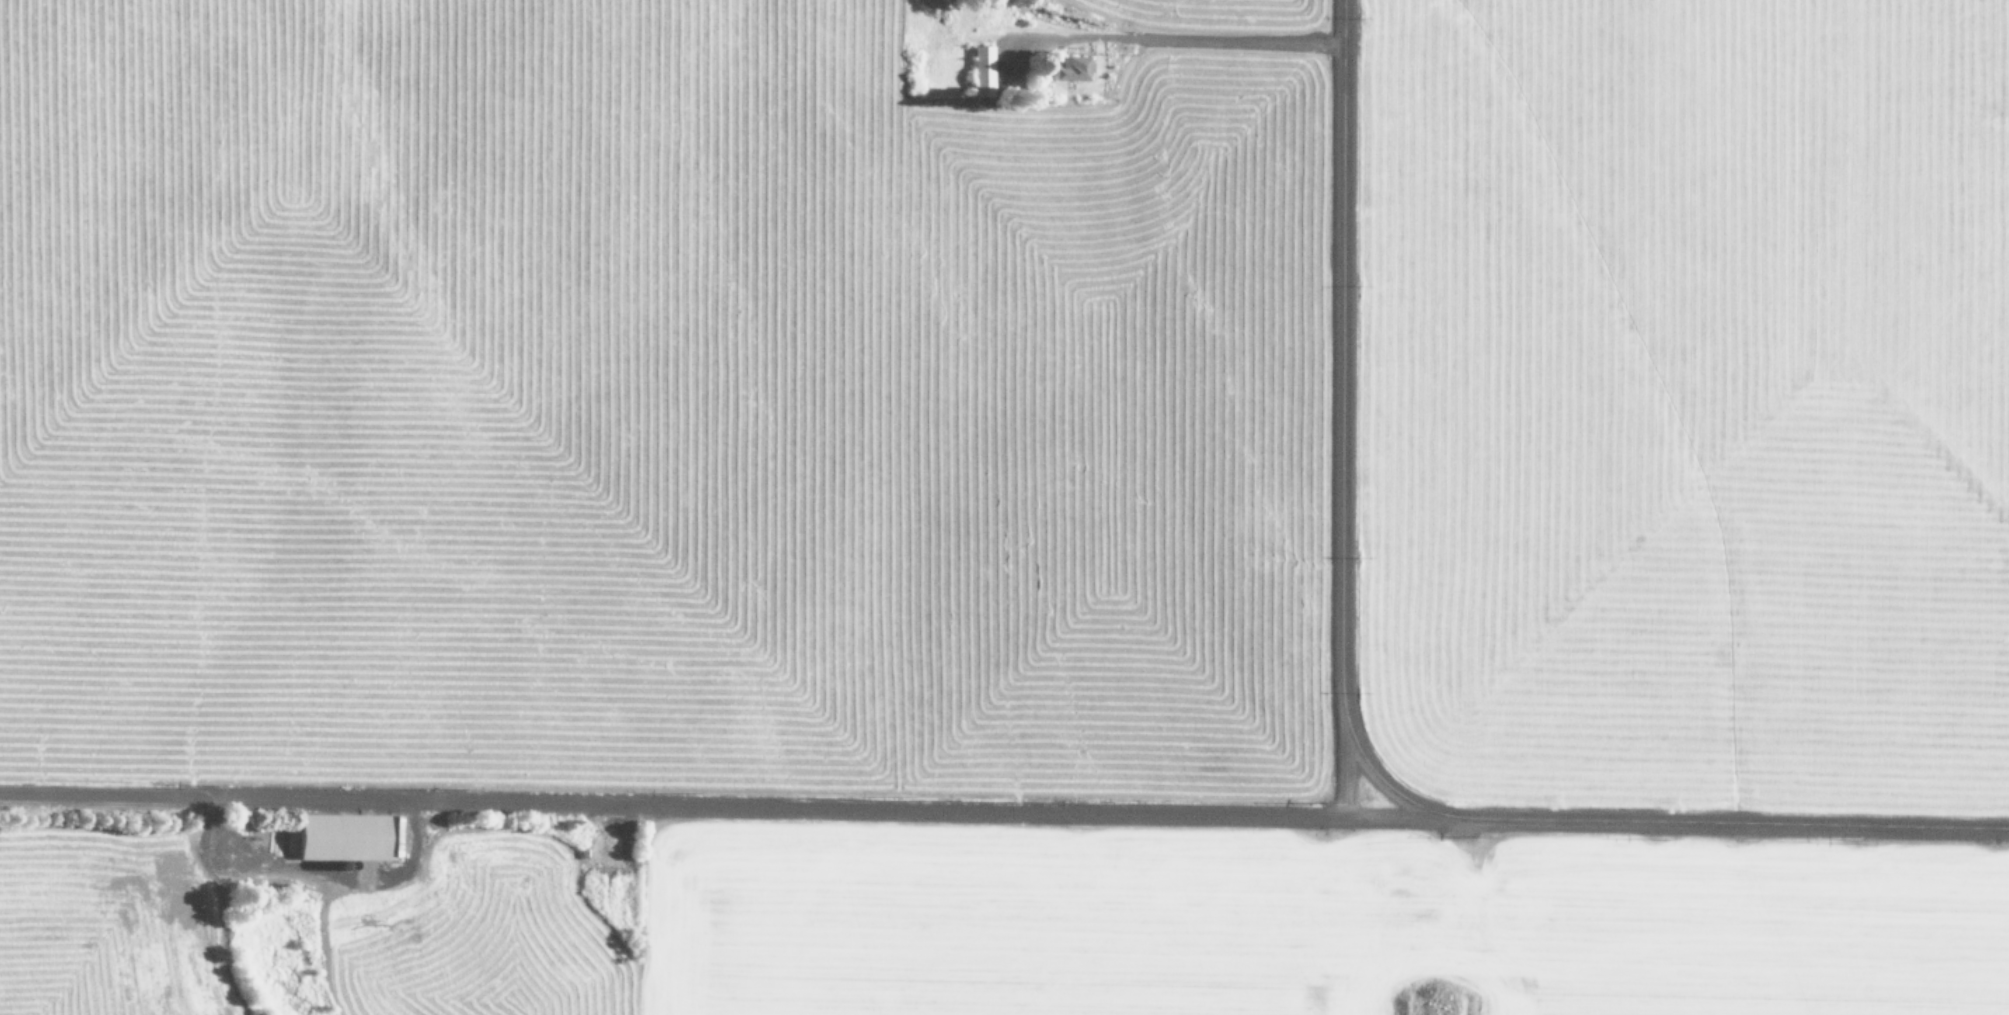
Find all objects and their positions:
building: (979, 68)
road: (1346, 409)
crop: (1004, 507)
road: (1386, 783)
road: (669, 801)
road: (1674, 822)

